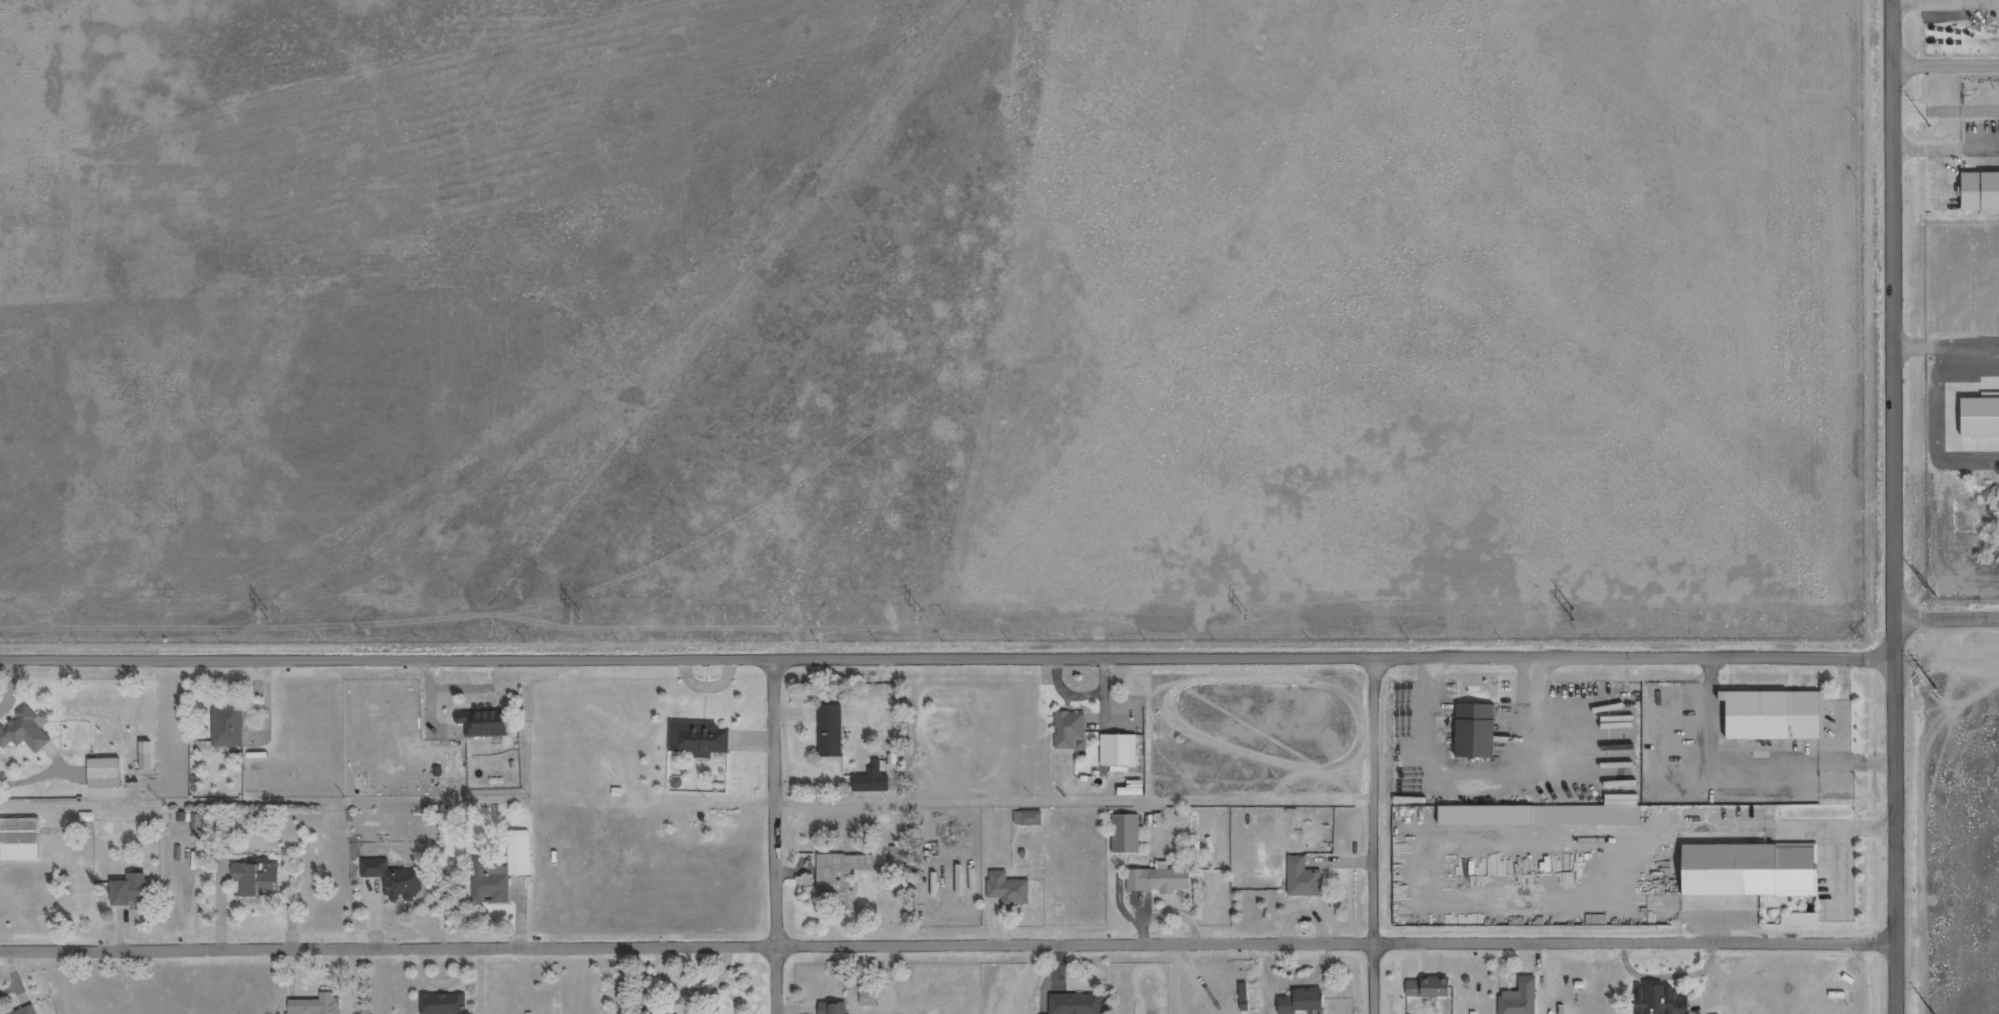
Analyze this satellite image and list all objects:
power tower: (1932, 127)
building: (1980, 192)
building: (1979, 417)
road: (1894, 506)
power tower: (1936, 594)
power tower: (265, 613)
power tower: (579, 614)
power tower: (924, 615)
power tower: (1574, 615)
road: (1942, 615)
power tower: (1246, 616)
road: (951, 656)
power tower: (1937, 690)
building: (1774, 716)
building: (484, 724)
building: (228, 727)
building: (24, 731)
building: (830, 732)
building: (1071, 732)
building: (1475, 733)
building: (699, 739)
building: (1119, 752)
building: (146, 756)
building: (105, 773)
building: (871, 780)
building: (1540, 815)
building: (1028, 819)
building: (198, 823)
road: (1378, 834)
road: (778, 835)
building: (1216, 835)
building: (1125, 836)
building: (20, 840)
building: (1749, 871)
building: (501, 872)
building: (1304, 877)
building: (838, 878)
building: (258, 879)
building: (394, 880)
building: (1159, 882)
building: (134, 890)
building: (1008, 890)
building: (1800, 920)
road: (947, 942)
building: (1428, 989)
building: (869, 995)
building: (1520, 998)
building: (1661, 1001)
building: (444, 1004)
building: (1301, 1004)
building: (1076, 1005)
building: (317, 1006)
building: (834, 1008)
building: (30, 1011)

